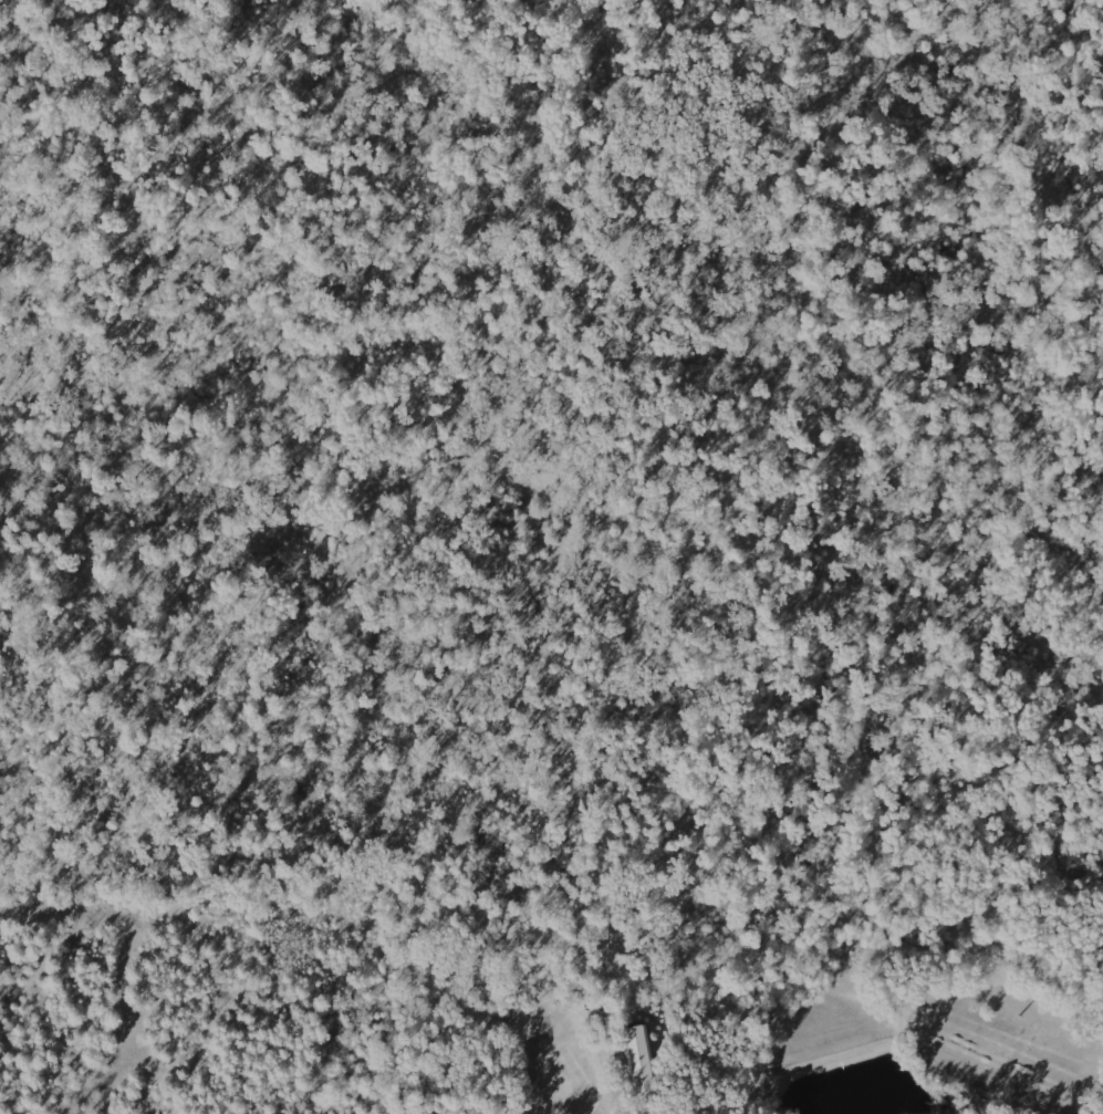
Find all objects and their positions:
building: (637, 1058)

